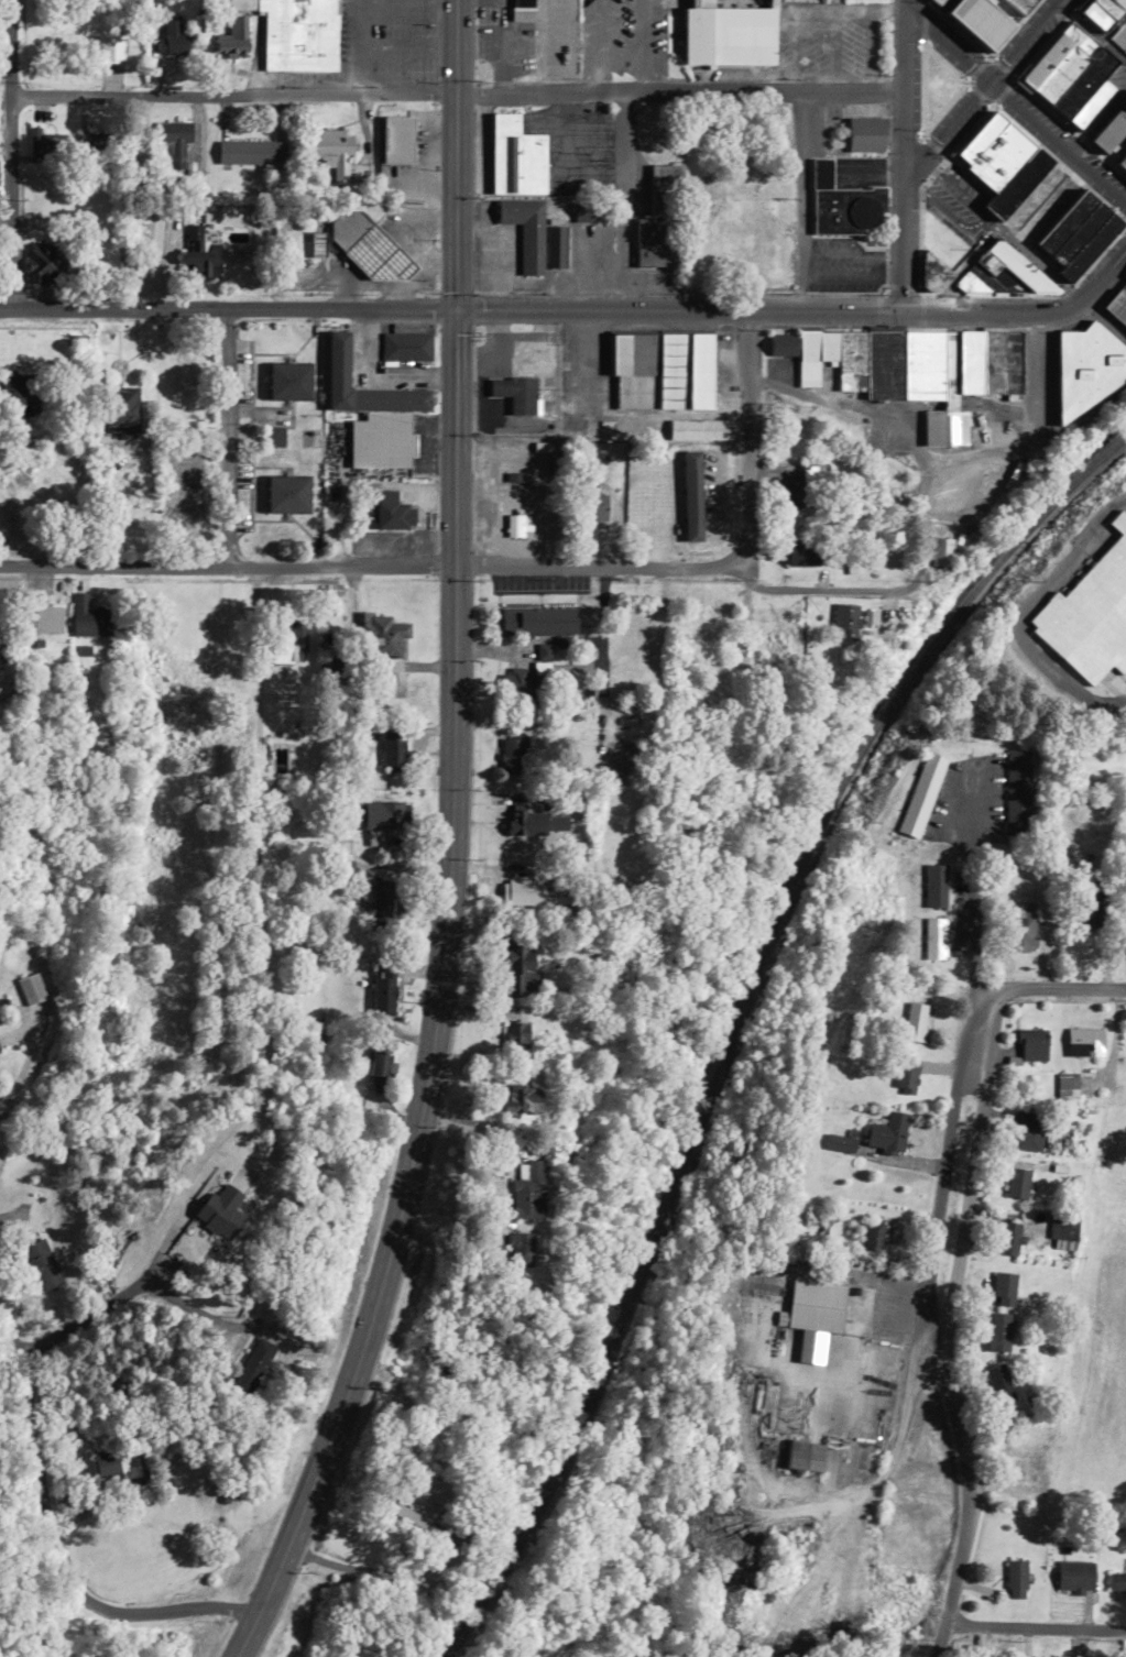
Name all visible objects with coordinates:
building: (938, 2)
building: (1020, 4)
road: (905, 6)
building: (522, 10)
building: (1107, 19)
building: (982, 21)
building: (295, 33)
building: (557, 33)
building: (729, 35)
building: (174, 36)
building: (232, 36)
building: (1072, 75)
road: (980, 87)
road: (457, 92)
road: (1015, 107)
building: (865, 134)
building: (1113, 139)
building: (44, 141)
building: (95, 143)
building: (328, 146)
building: (174, 147)
building: (249, 153)
road: (12, 154)
building: (516, 157)
road: (903, 160)
building: (1001, 163)
road: (620, 200)
road: (796, 201)
building: (844, 205)
building: (658, 220)
building: (525, 231)
building: (365, 246)
building: (555, 246)
building: (733, 248)
building: (1043, 252)
building: (199, 255)
building: (45, 263)
building: (1117, 305)
road: (575, 308)
building: (405, 347)
building: (914, 369)
building: (1085, 369)
building: (662, 371)
building: (287, 381)
building: (515, 394)
building: (17, 396)
building: (118, 411)
building: (372, 413)
building: (697, 429)
building: (274, 436)
road: (745, 437)
road: (217, 438)
building: (795, 493)
building: (286, 494)
building: (692, 496)
building: (647, 506)
building: (391, 512)
building: (940, 551)
building: (800, 552)
road: (545, 566)
building: (1090, 613)
building: (88, 618)
building: (44, 619)
building: (537, 621)
building: (850, 621)
building: (381, 630)
building: (287, 638)
building: (775, 649)
road: (256, 660)
building: (524, 683)
road: (600, 694)
building: (392, 749)
building: (511, 753)
building: (922, 792)
building: (1017, 792)
building: (382, 814)
building: (537, 822)
road: (448, 845)
road: (971, 878)
building: (934, 886)
building: (523, 892)
building: (1090, 901)
building: (381, 902)
building: (1021, 926)
building: (934, 937)
building: (520, 973)
building: (30, 988)
road: (1028, 990)
building: (382, 994)
railway: (735, 1014)
building: (914, 1021)
building: (1084, 1041)
building: (1031, 1044)
building: (378, 1072)
building: (905, 1077)
building: (522, 1098)
building: (887, 1132)
building: (1026, 1132)
road: (226, 1133)
building: (839, 1143)
building: (1016, 1183)
building: (528, 1190)
building: (214, 1211)
building: (1063, 1229)
building: (873, 1236)
building: (1008, 1237)
building: (521, 1250)
building: (40, 1263)
building: (1003, 1287)
building: (816, 1305)
building: (997, 1330)
road: (937, 1335)
building: (252, 1365)
building: (997, 1383)
building: (803, 1455)
building: (120, 1462)
building: (1018, 1478)
building: (418, 1501)
road: (43, 1540)
road: (337, 1563)
building: (1074, 1574)
building: (1015, 1579)
building: (1116, 1581)
road: (1035, 1626)
road: (938, 1640)

